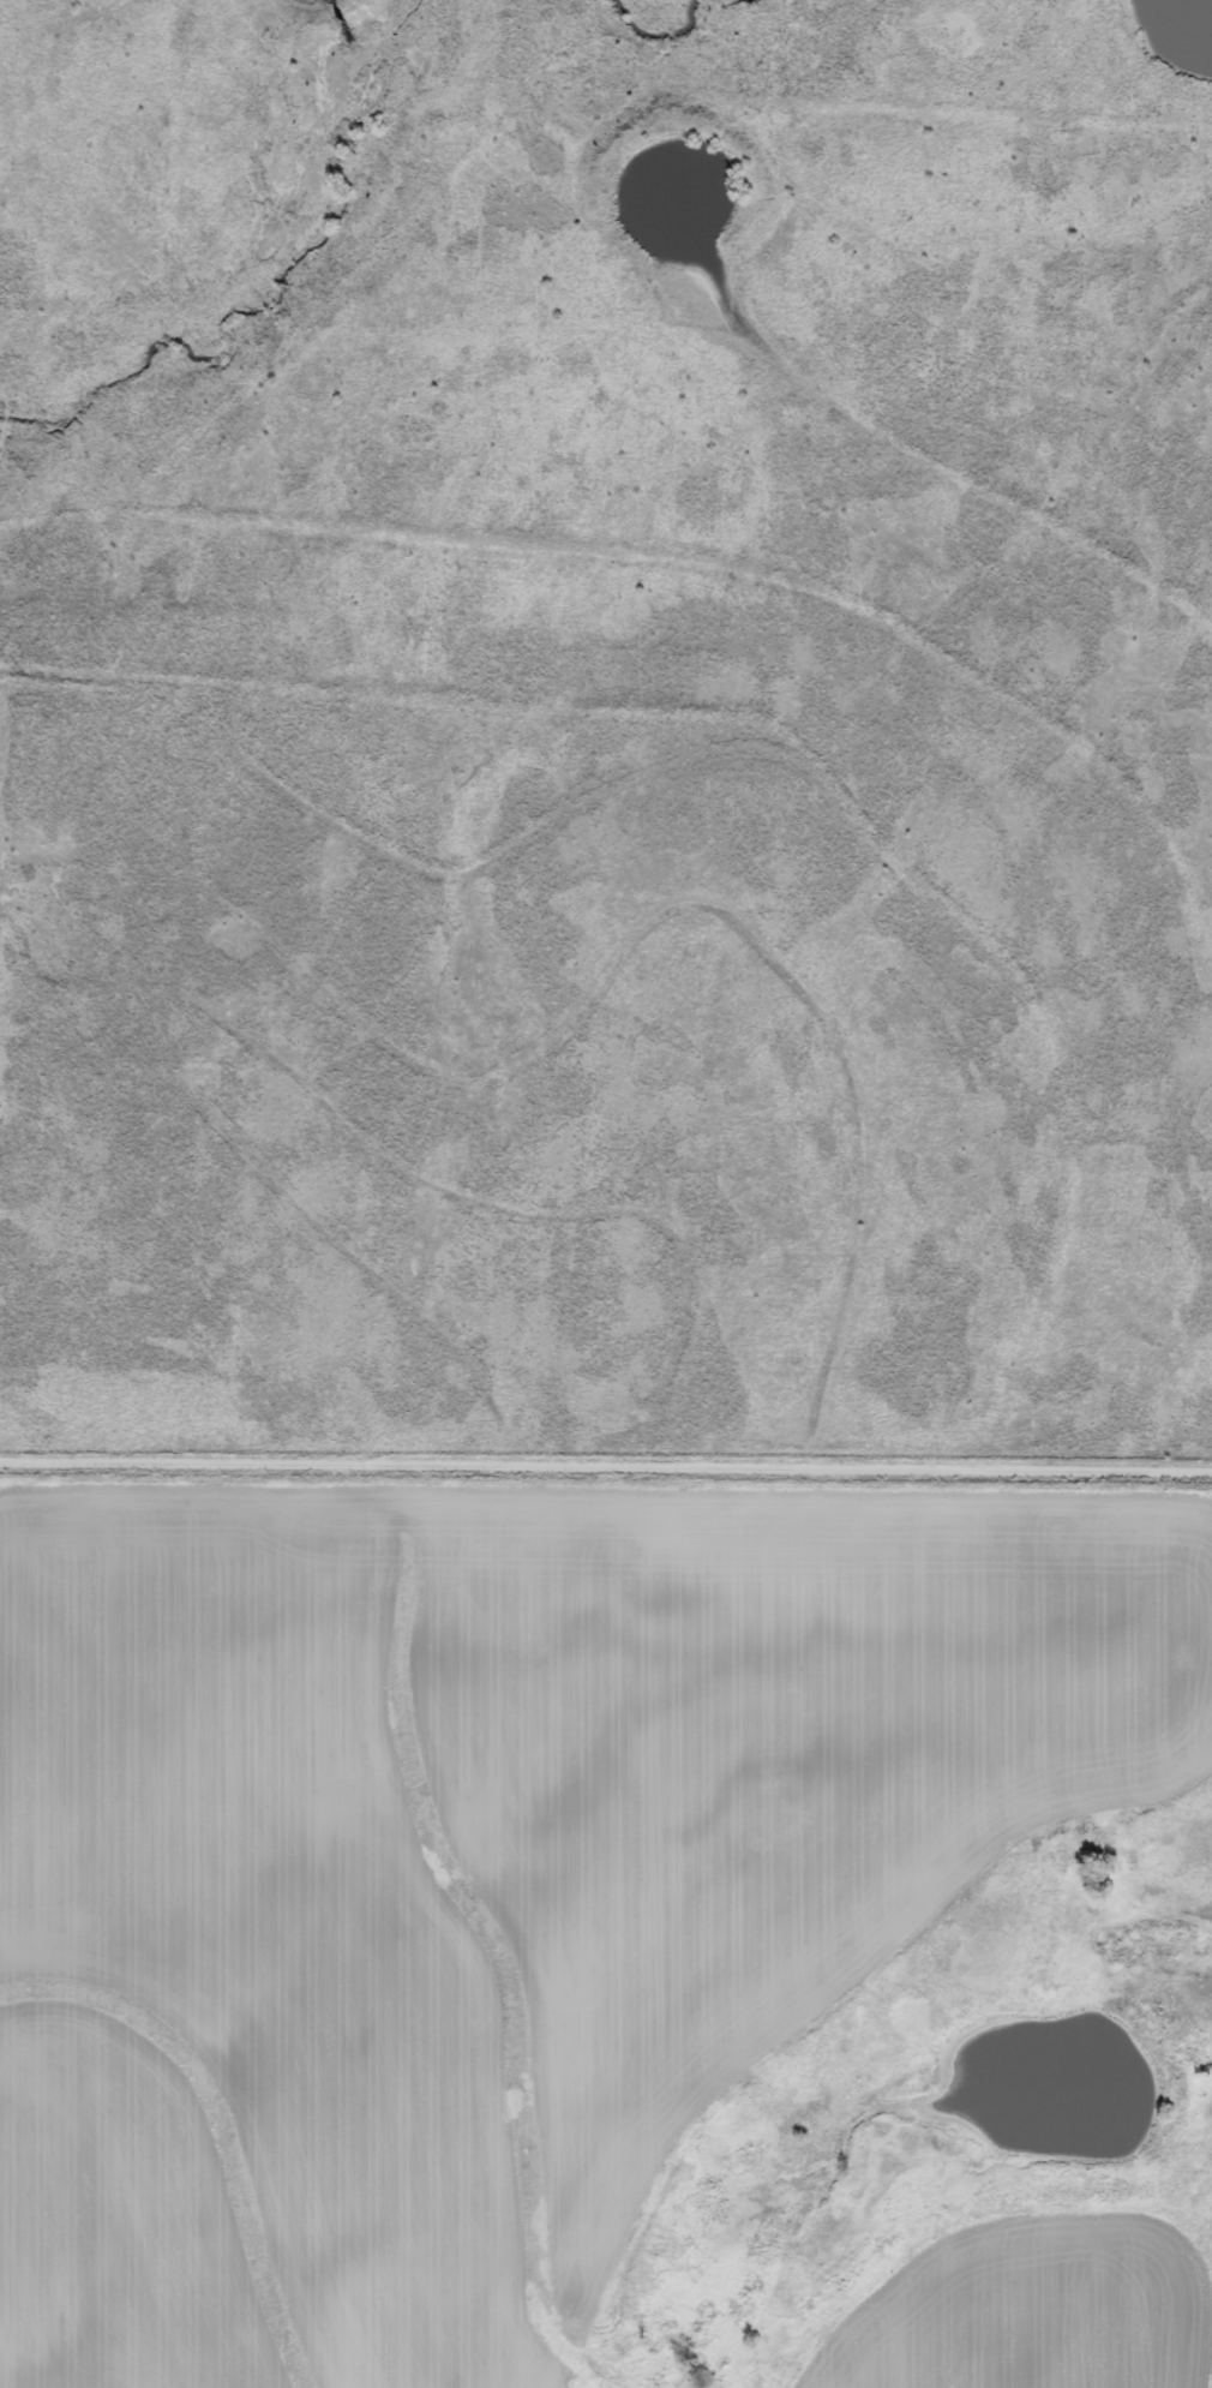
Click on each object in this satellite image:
road: (606, 1468)

